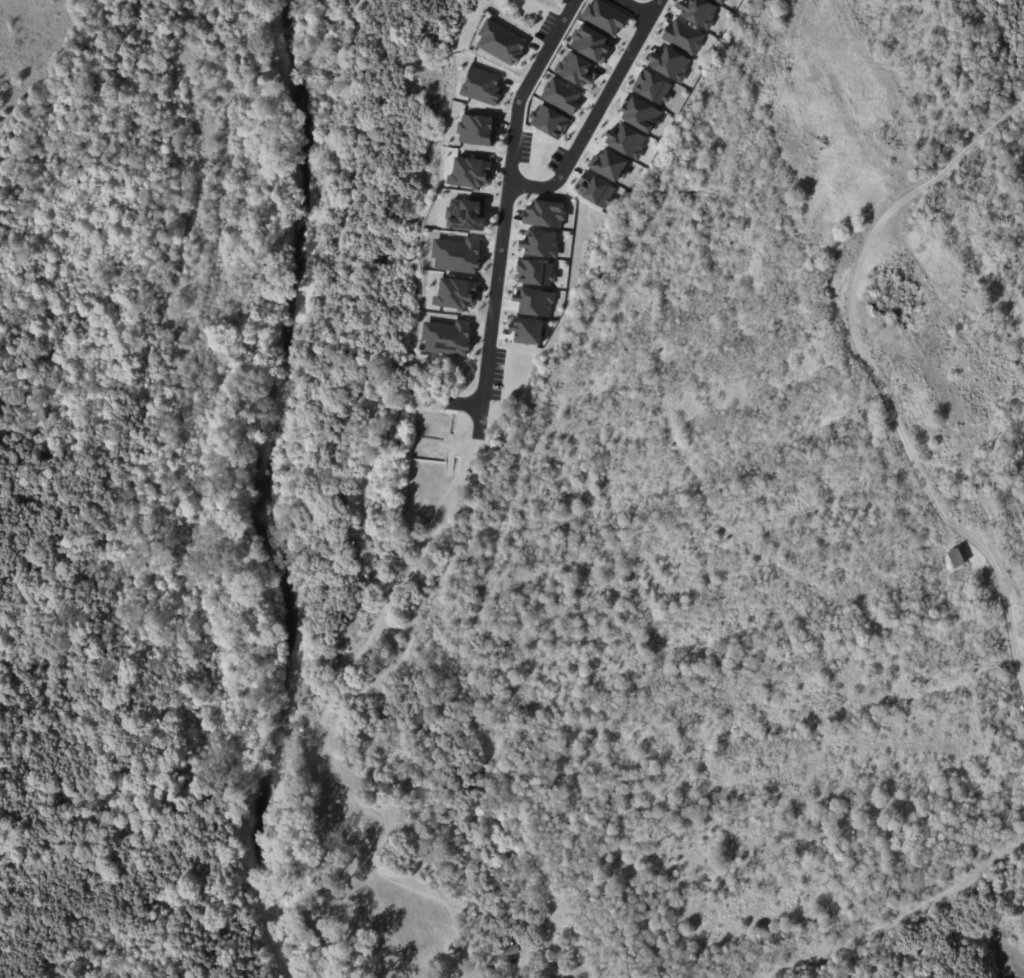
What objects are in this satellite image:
building: (720, 1)
road: (636, 9)
building: (698, 12)
building: (604, 16)
building: (683, 36)
building: (501, 42)
building: (589, 42)
building: (670, 63)
building: (575, 68)
building: (481, 86)
building: (653, 86)
building: (561, 95)
road: (598, 111)
building: (641, 114)
building: (553, 123)
building: (477, 130)
building: (627, 141)
park: (76, 158)
building: (610, 165)
building: (471, 172)
building: (596, 189)
road: (507, 209)
building: (467, 212)
building: (544, 214)
building: (540, 244)
building: (457, 254)
building: (535, 272)
building: (456, 293)
building: (534, 301)
building: (527, 330)
building: (447, 337)
road: (876, 380)
road: (465, 404)
building: (959, 558)
road: (900, 917)
building: (492, 933)
building: (509, 953)
building: (479, 971)

